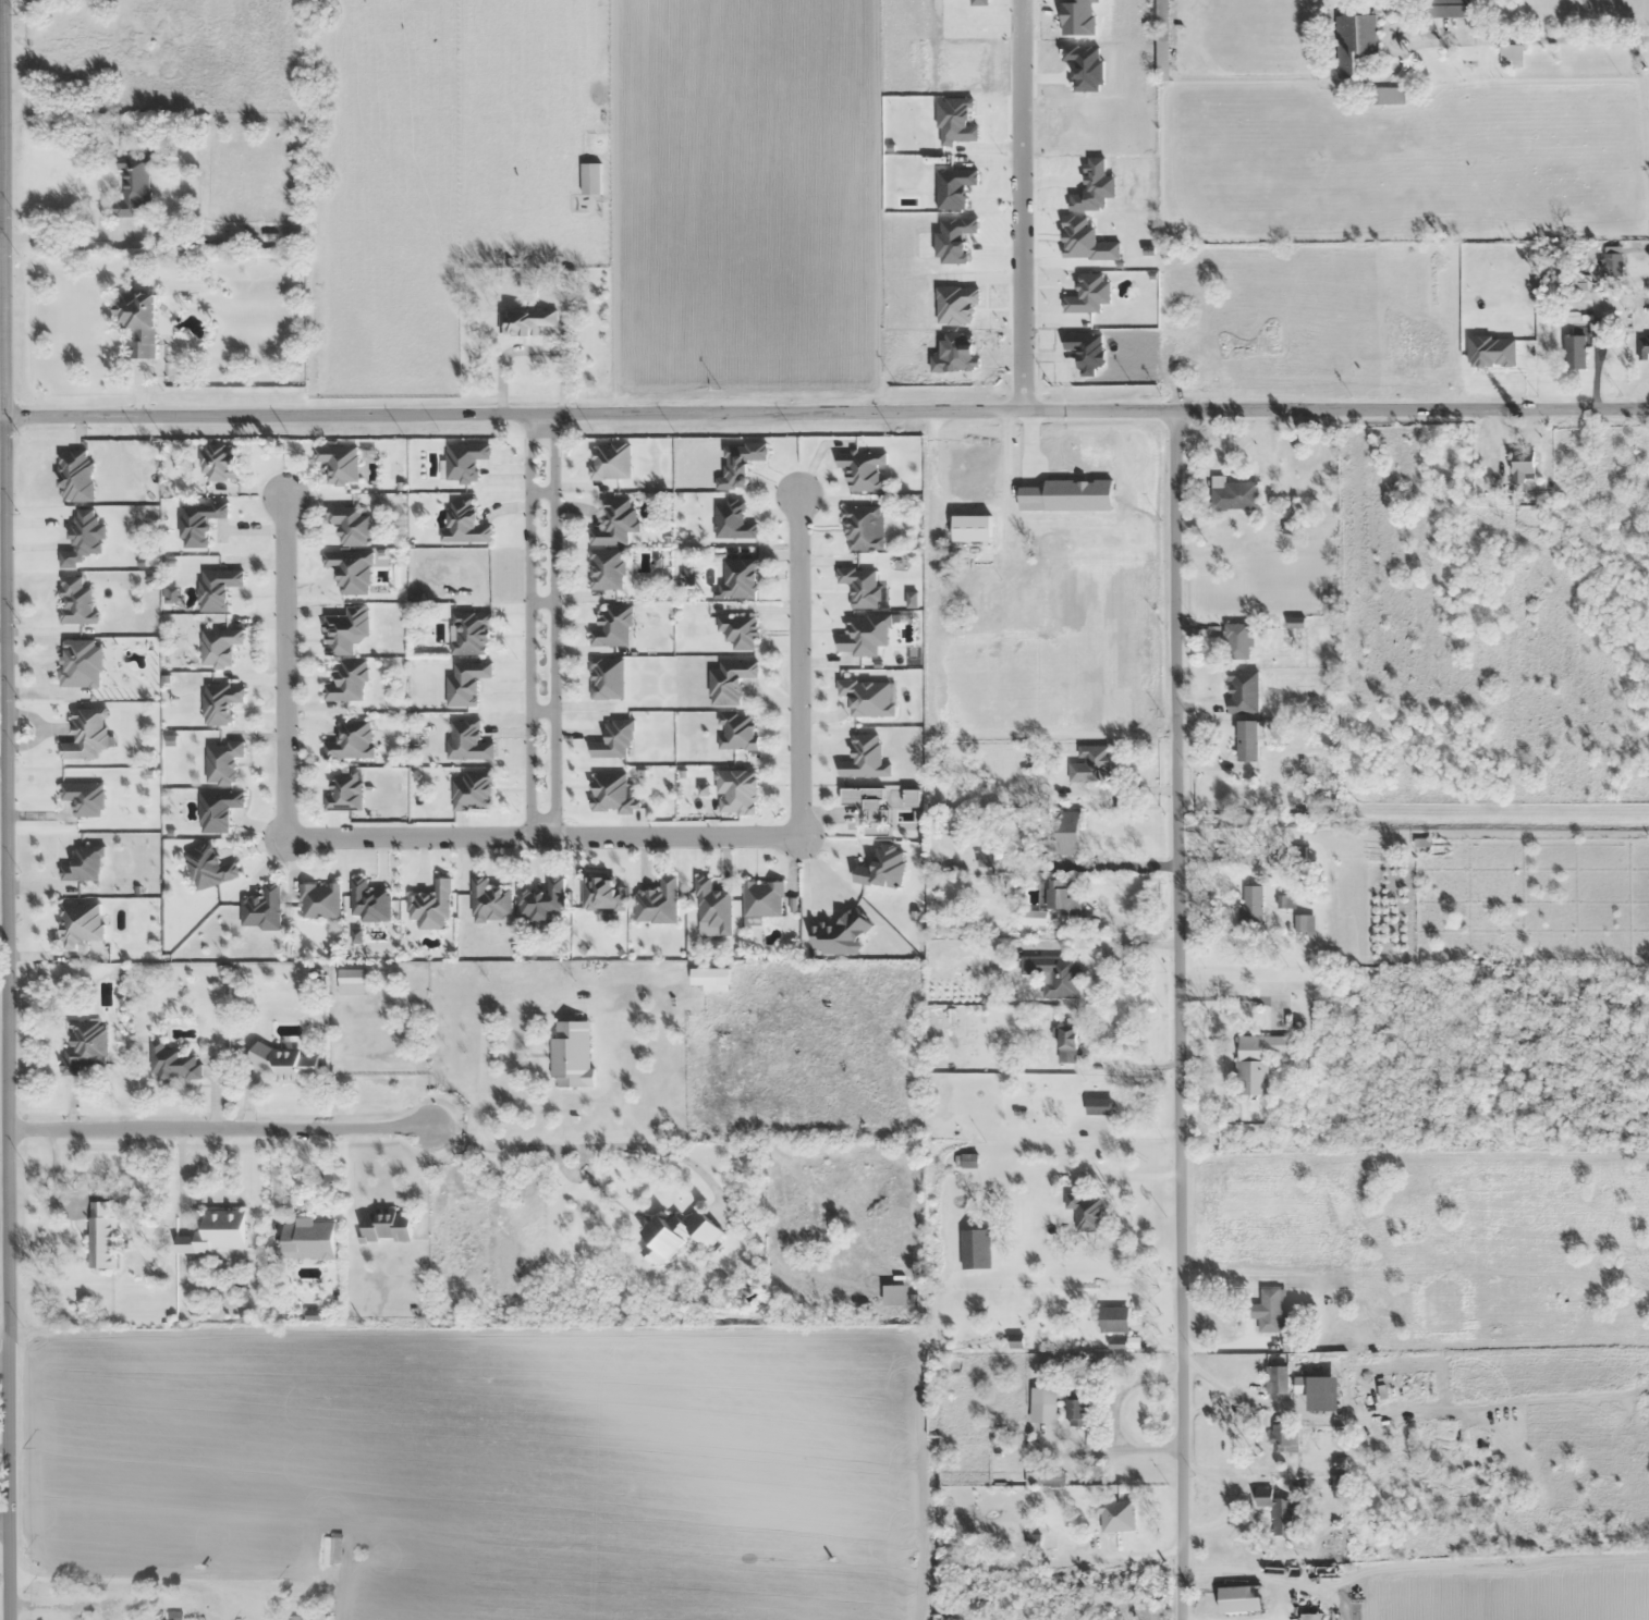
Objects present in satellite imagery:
building: (1448, 8)
building: (1162, 34)
building: (1353, 41)
building: (1510, 52)
building: (1385, 96)
building: (1318, 161)
building: (590, 179)
building: (130, 186)
crop: (883, 196)
road: (1023, 206)
building: (1612, 260)
building: (524, 321)
building: (137, 322)
building: (1642, 347)
building: (1575, 352)
road: (824, 413)
building: (610, 461)
building: (217, 463)
building: (339, 463)
building: (1522, 464)
building: (863, 469)
building: (75, 476)
building: (1233, 494)
building: (731, 520)
building: (198, 523)
building: (614, 523)
building: (350, 524)
building: (464, 524)
building: (862, 528)
building: (984, 551)
building: (604, 568)
building: (350, 570)
building: (1019, 572)
building: (738, 578)
building: (860, 587)
building: (75, 602)
building: (612, 626)
building: (737, 631)
building: (468, 633)
building: (1237, 641)
building: (218, 647)
road: (799, 665)
road: (283, 670)
building: (606, 678)
building: (346, 682)
building: (729, 682)
building: (465, 684)
building: (1242, 691)
building: (867, 698)
building: (220, 703)
building: (736, 732)
building: (87, 735)
building: (614, 740)
building: (1246, 740)
building: (351, 741)
building: (466, 741)
building: (864, 759)
building: (221, 762)
building: (1089, 765)
building: (472, 791)
building: (736, 793)
building: (343, 794)
building: (611, 794)
road: (3, 810)
building: (217, 810)
building: (1058, 832)
road: (541, 837)
road: (542, 837)
building: (84, 864)
building: (208, 868)
building: (601, 895)
building: (761, 899)
building: (319, 900)
building: (368, 901)
building: (489, 901)
building: (1055, 901)
building: (542, 903)
building: (657, 903)
building: (431, 907)
building: (712, 907)
building: (261, 909)
building: (1250, 910)
building: (80, 924)
building: (1054, 974)
building: (720, 983)
road: (1182, 1016)
building: (1066, 1044)
building: (84, 1046)
building: (571, 1056)
building: (1256, 1061)
building: (284, 1063)
building: (172, 1064)
building: (1099, 1107)
road: (217, 1125)
building: (965, 1161)
building: (1084, 1212)
building: (384, 1227)
building: (216, 1232)
building: (101, 1234)
building: (676, 1235)
building: (307, 1239)
building: (975, 1249)
building: (894, 1294)
building: (1271, 1309)
building: (1113, 1318)
building: (1292, 1343)
building: (1277, 1376)
building: (1307, 1384)
building: (1065, 1402)
building: (1287, 1438)
building: (1278, 1509)
building: (1112, 1518)
road: (3, 1524)
building: (328, 1550)
building: (1239, 1599)
building: (1155, 1610)
building: (1312, 1616)
building: (292, 1618)

